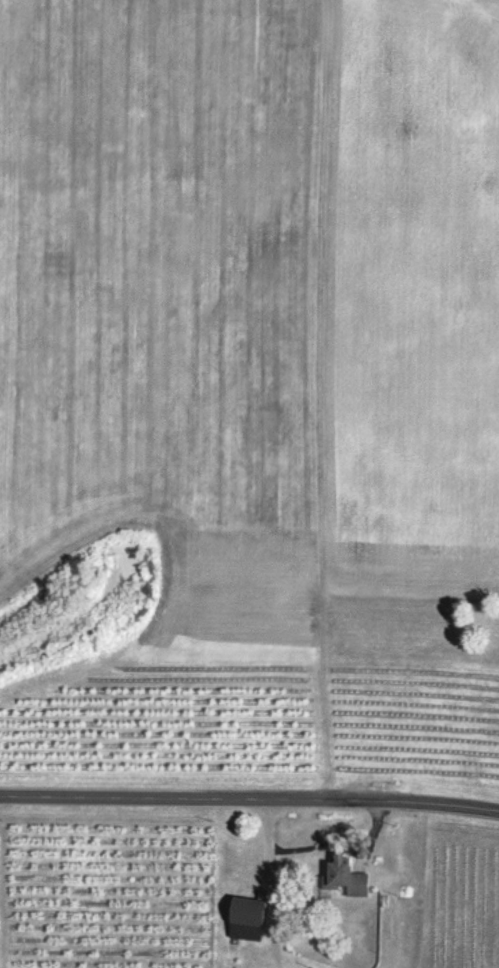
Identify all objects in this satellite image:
road: (249, 792)
road: (315, 844)
building: (344, 876)
building: (242, 917)

